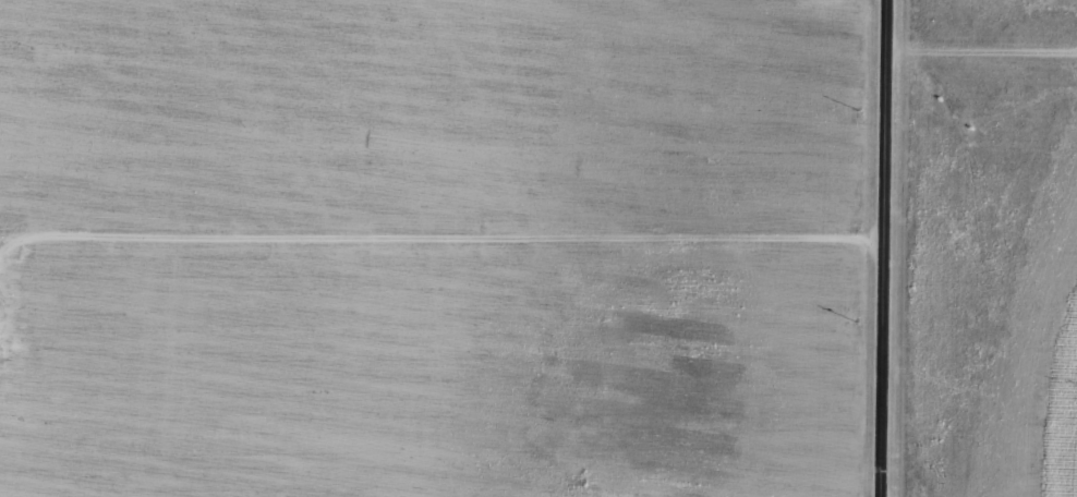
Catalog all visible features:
road: (898, 248)

